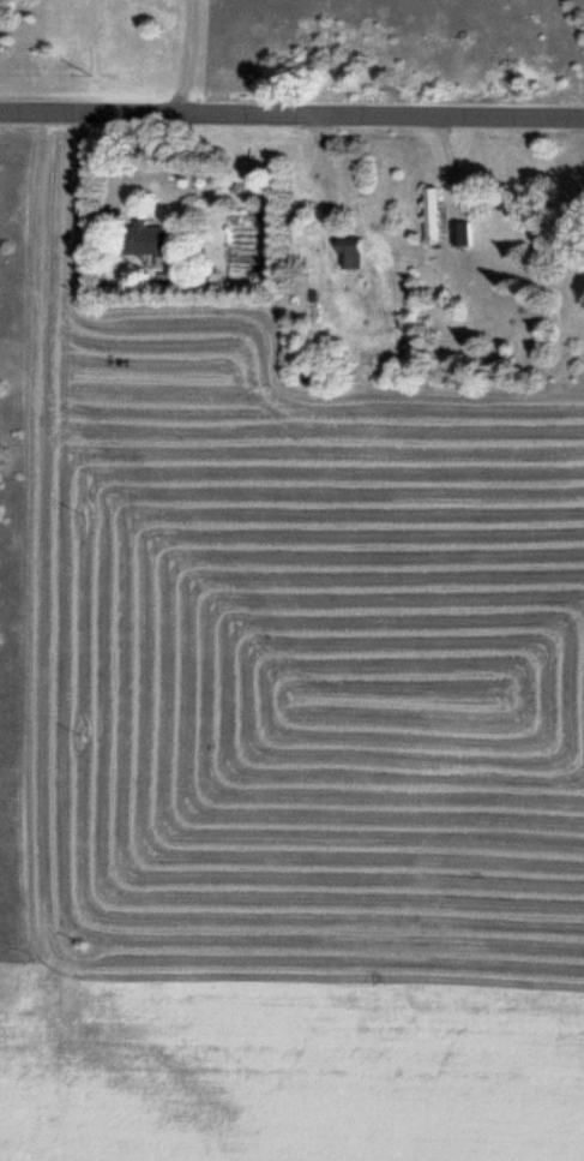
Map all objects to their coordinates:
road: (291, 118)
building: (429, 214)
building: (459, 232)
building: (142, 238)
building: (348, 250)

